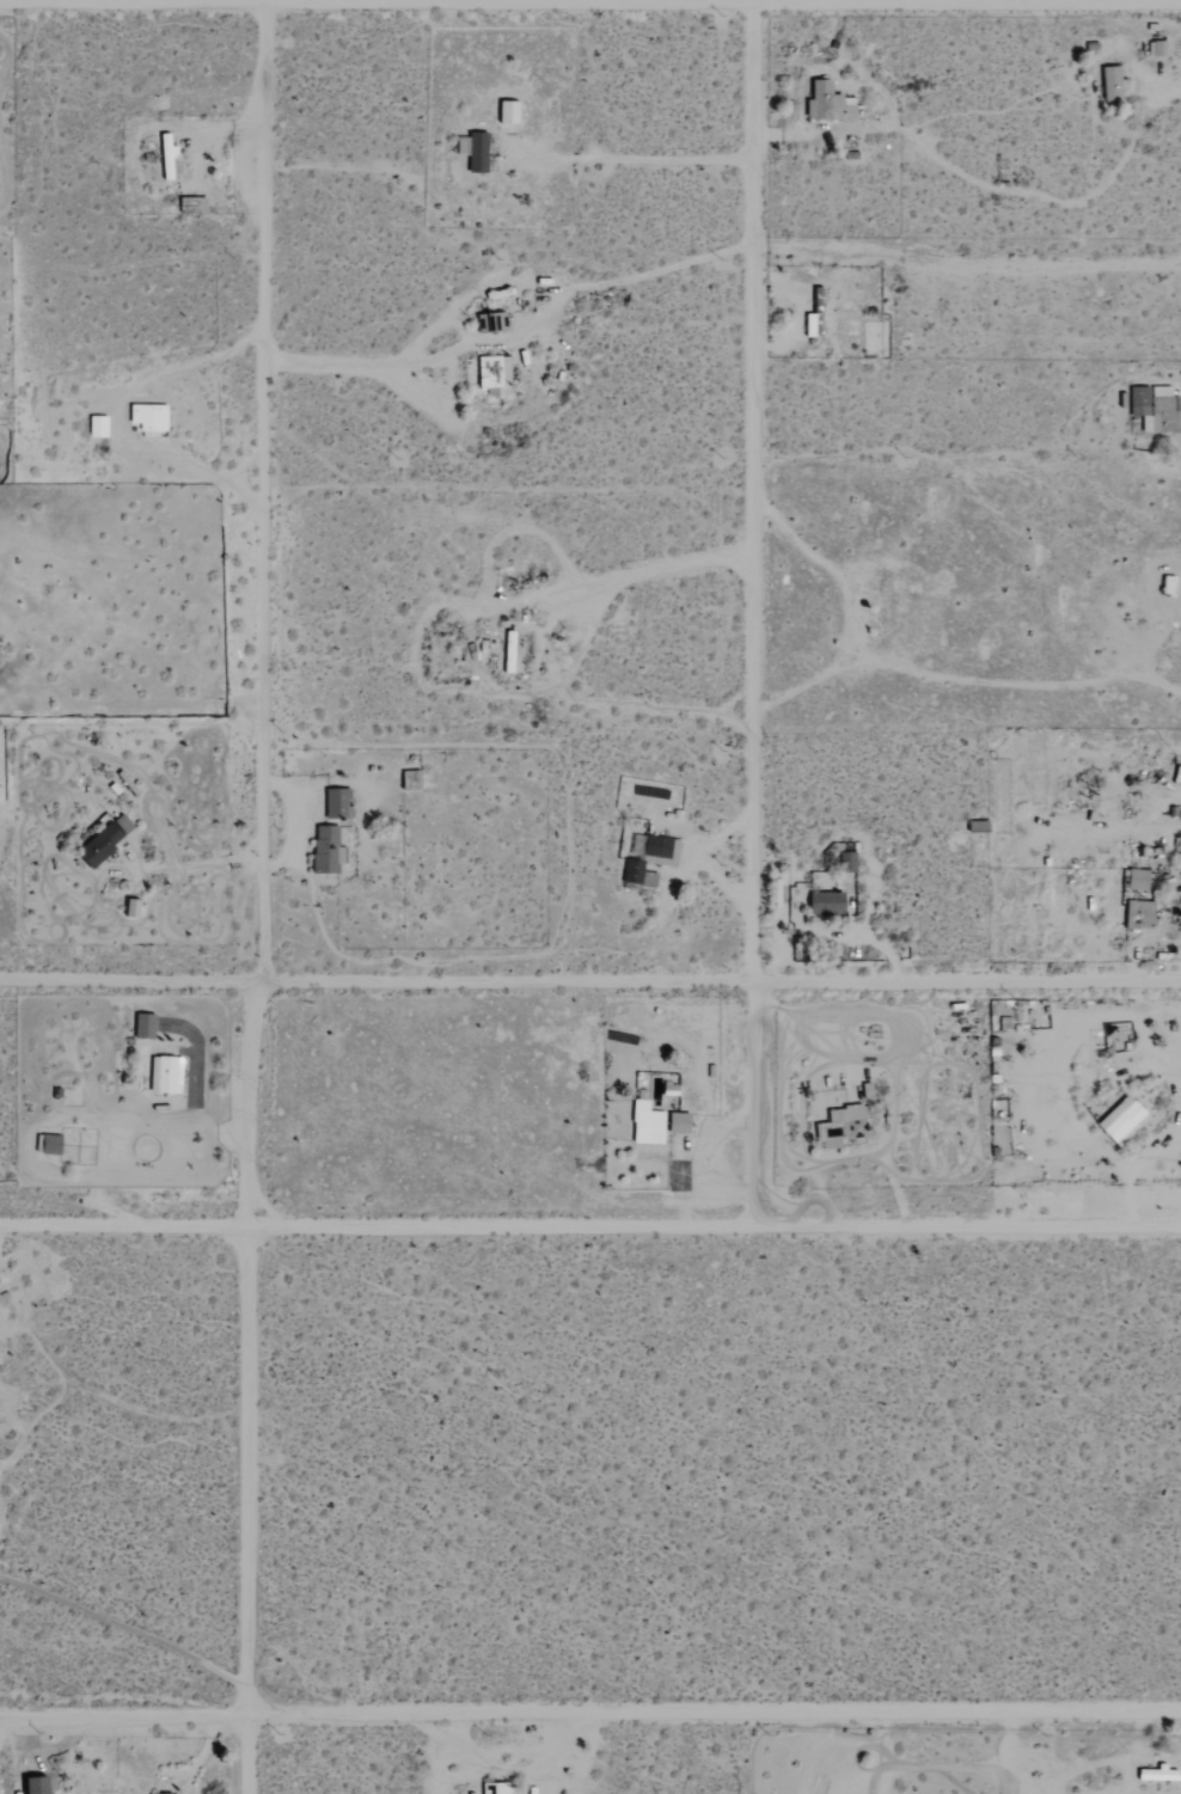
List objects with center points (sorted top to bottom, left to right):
road: (589, 4)
building: (1109, 81)
road: (1165, 88)
building: (826, 103)
building: (506, 110)
building: (475, 151)
building: (166, 158)
building: (190, 203)
building: (810, 324)
building: (491, 374)
building: (1152, 409)
building: (146, 416)
building: (96, 425)
road: (752, 613)
building: (335, 802)
building: (975, 825)
building: (103, 839)
building: (324, 849)
building: (657, 850)
building: (632, 871)
building: (1136, 878)
road: (256, 896)
building: (824, 902)
building: (1137, 913)
road: (589, 981)
building: (142, 1025)
building: (164, 1074)
building: (1120, 1120)
building: (677, 1121)
building: (645, 1122)
building: (838, 1126)
building: (48, 1143)
road: (589, 1227)
road: (589, 1714)
building: (1156, 1774)
building: (31, 1784)
building: (501, 1788)
building: (169, 1793)

